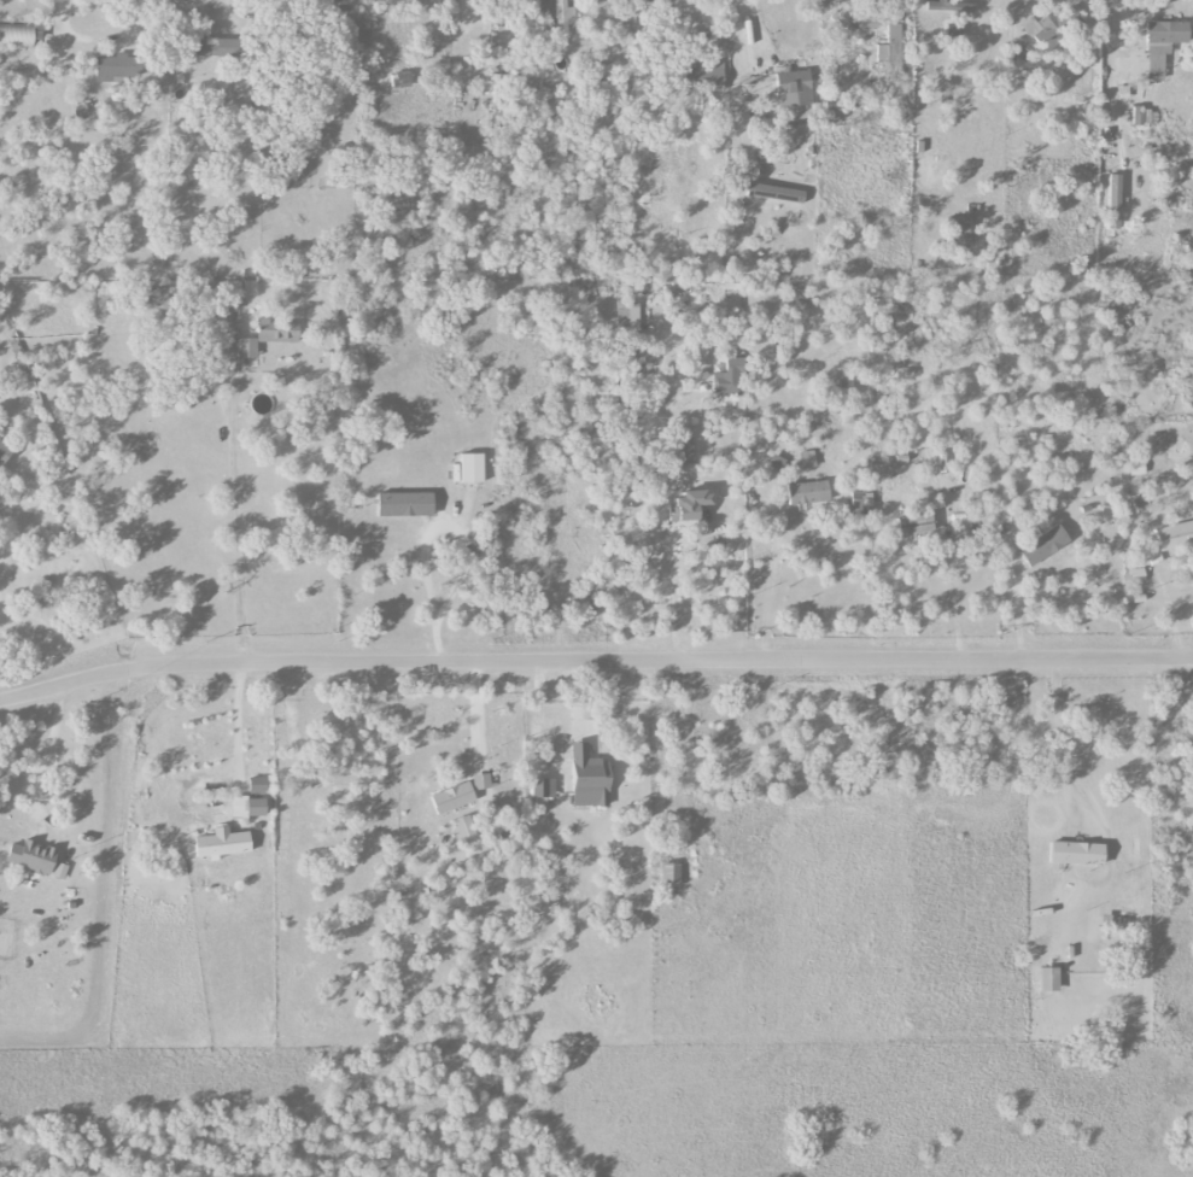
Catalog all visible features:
road: (978, 0)
building: (951, 7)
road: (223, 8)
road: (1012, 16)
building: (563, 17)
road: (750, 23)
building: (1043, 30)
building: (503, 35)
building: (19, 36)
road: (104, 37)
building: (1162, 45)
building: (216, 47)
building: (891, 47)
building: (117, 66)
building: (703, 74)
road: (1109, 75)
road: (733, 82)
building: (499, 89)
building: (794, 95)
building: (829, 110)
building: (1145, 117)
building: (774, 192)
building: (1113, 201)
building: (957, 232)
building: (732, 283)
building: (241, 288)
building: (156, 298)
building: (879, 304)
building: (626, 320)
building: (277, 332)
building: (246, 347)
building: (729, 379)
building: (4, 452)
building: (807, 459)
building: (472, 468)
building: (1135, 469)
road: (238, 492)
building: (807, 492)
building: (860, 503)
building: (405, 504)
building: (688, 505)
building: (916, 525)
building: (1174, 535)
building: (1043, 546)
building: (1136, 575)
road: (431, 586)
road: (955, 587)
road: (667, 590)
road: (593, 661)
road: (470, 715)
road: (232, 722)
road: (1057, 733)
road: (51, 753)
building: (589, 779)
building: (480, 781)
building: (257, 785)
building: (542, 787)
building: (452, 798)
building: (247, 807)
building: (491, 813)
building: (463, 828)
building: (223, 844)
building: (1077, 854)
building: (31, 857)
building: (59, 871)
building: (671, 876)
building: (1049, 979)

